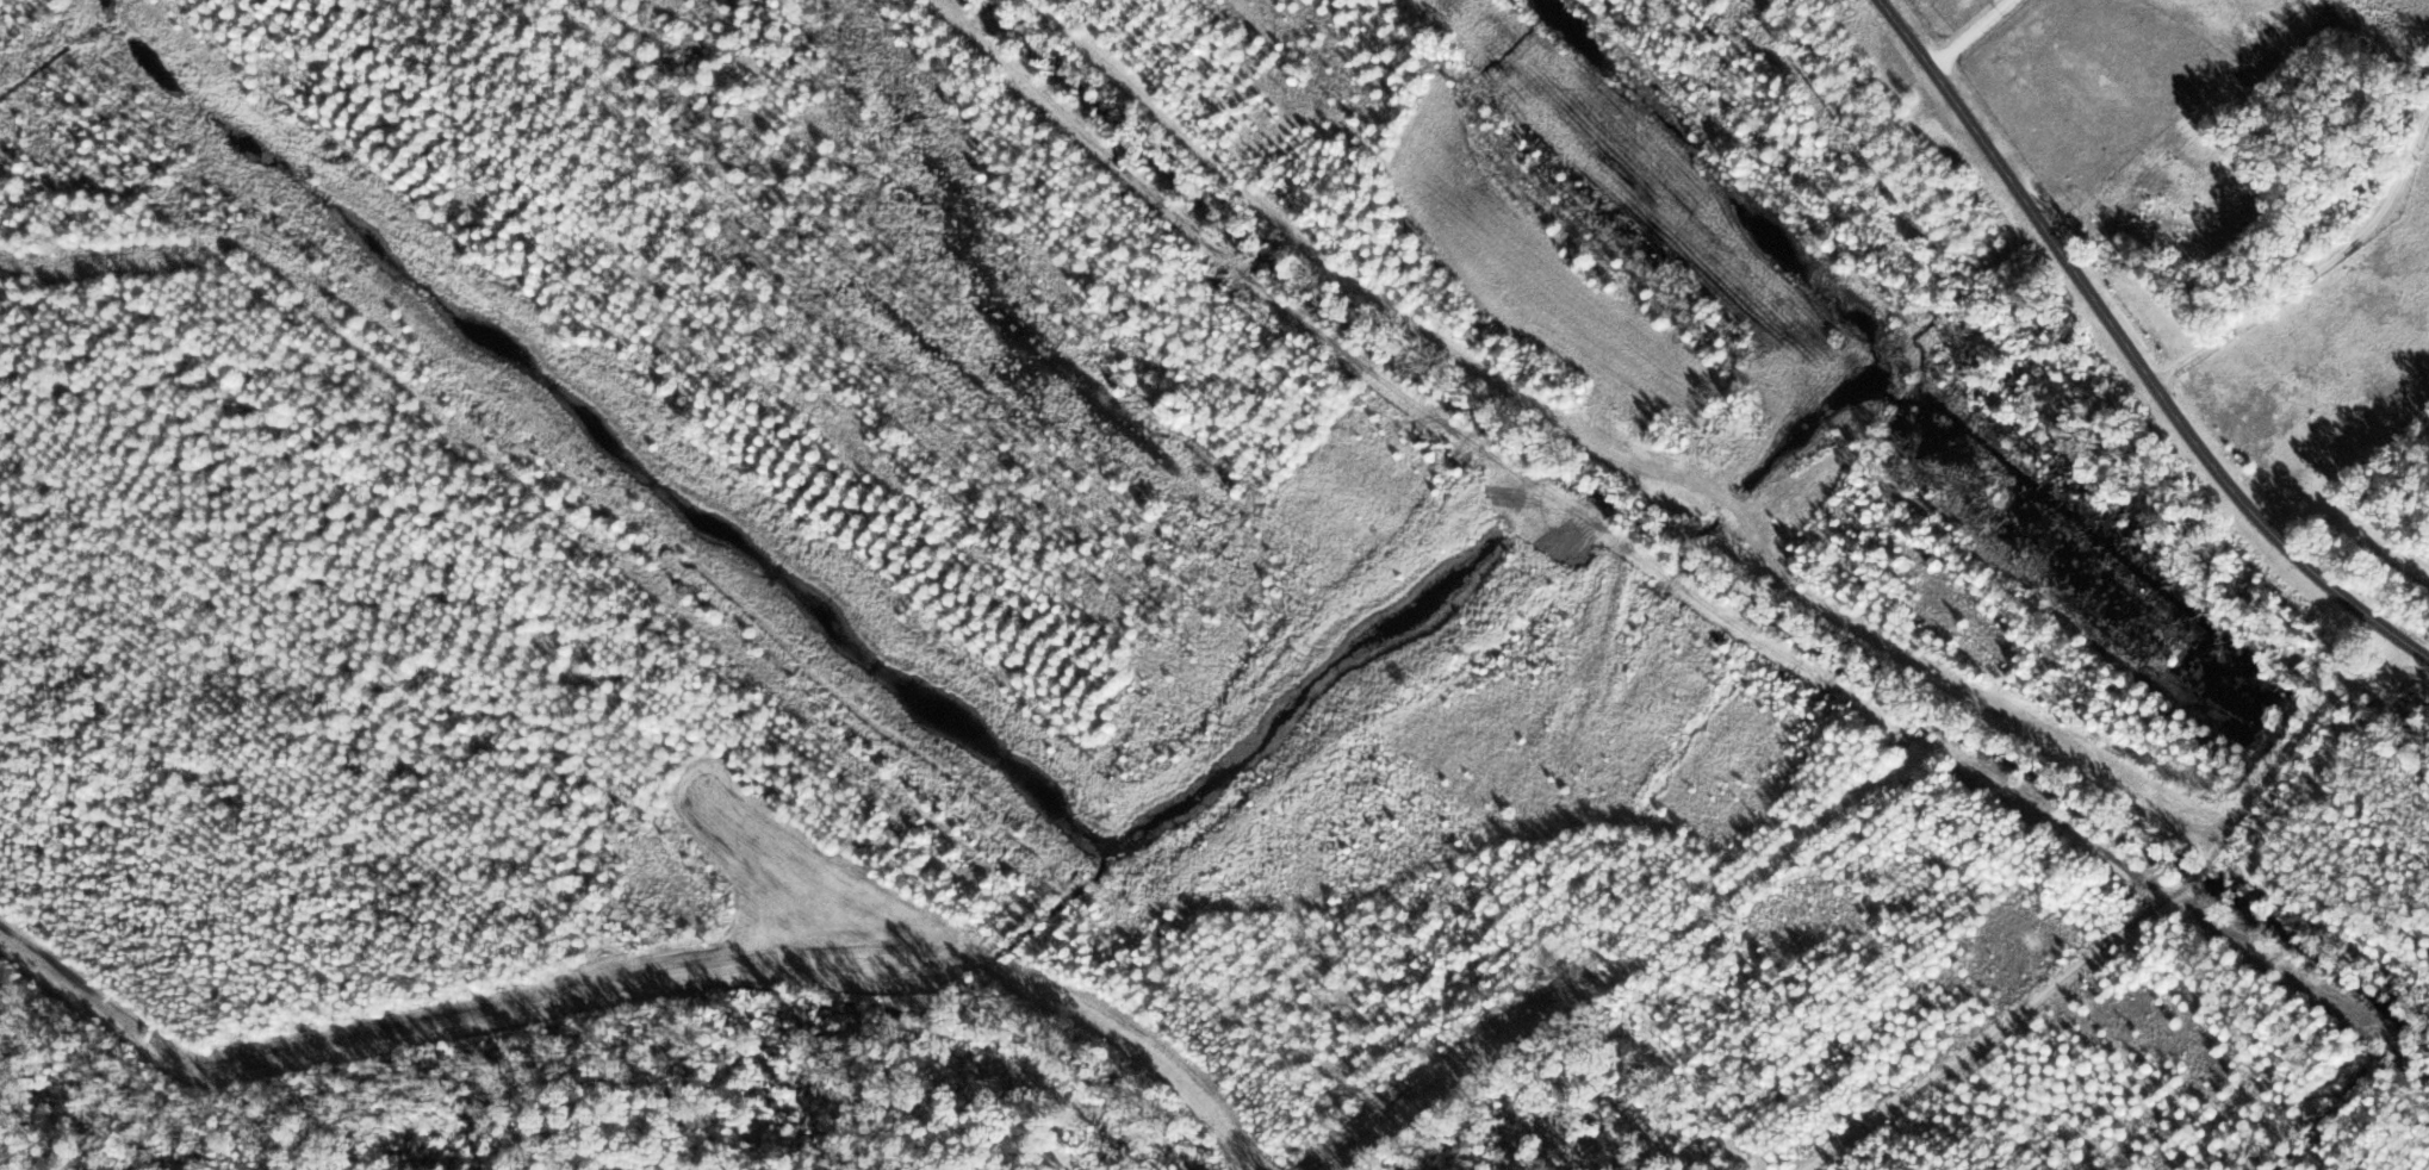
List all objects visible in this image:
road: (2242, 239)
road: (2137, 346)
road: (2130, 928)
road: (641, 987)
road: (1553, 1012)

